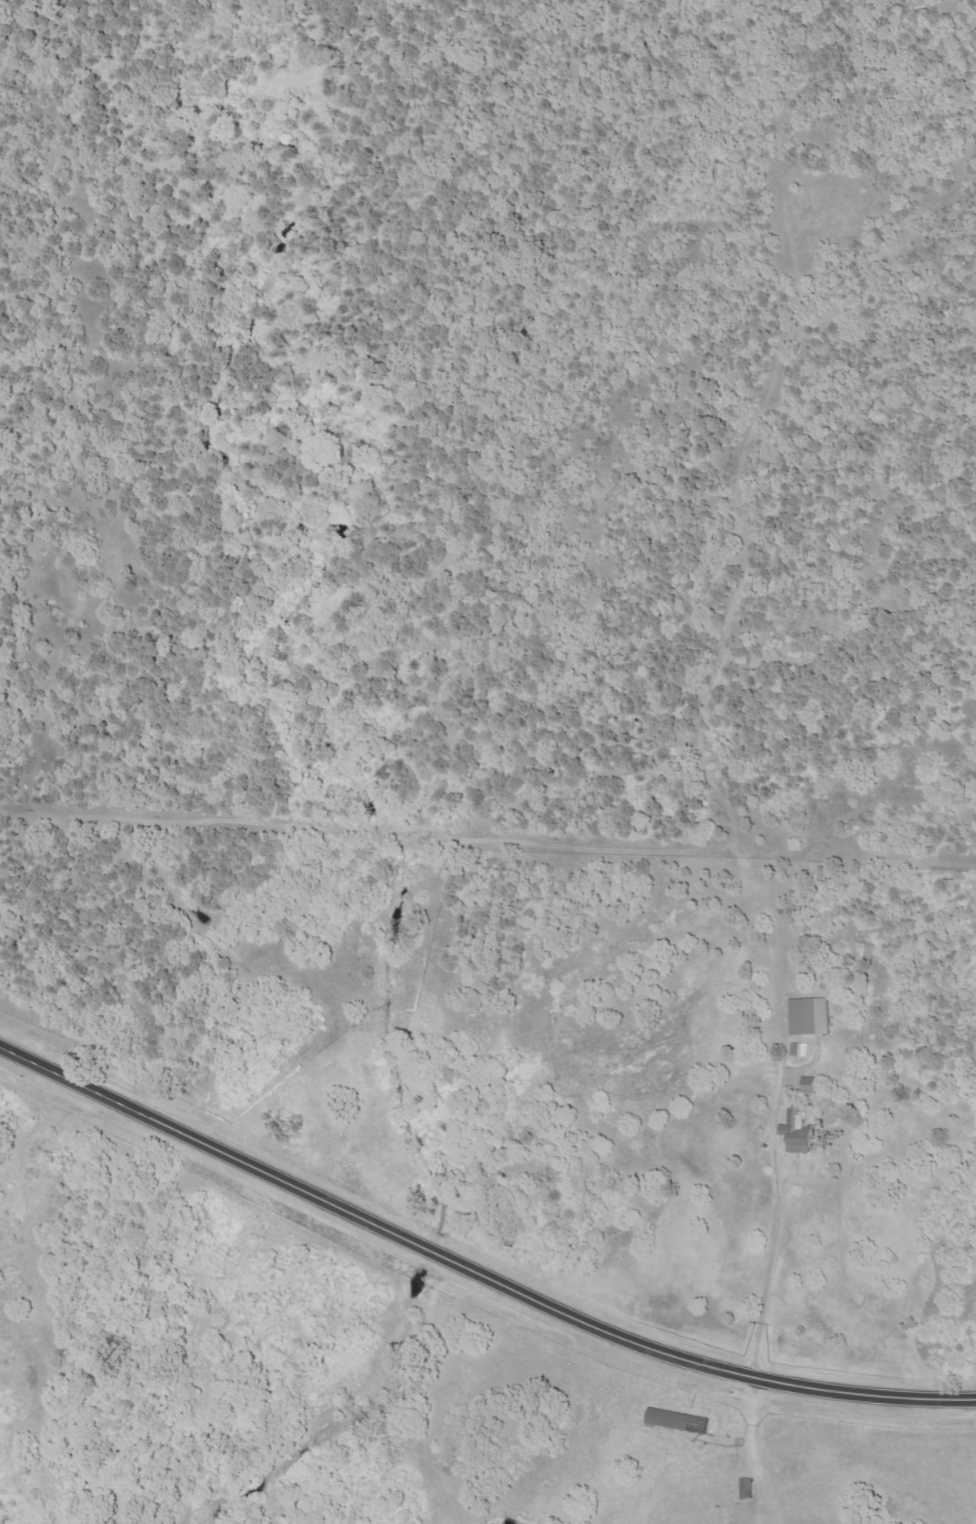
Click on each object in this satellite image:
road: (48, 488)
building: (808, 1017)
building: (800, 1049)
road: (748, 1071)
building: (812, 1085)
building: (795, 1133)
road: (474, 1264)
building: (675, 1421)

